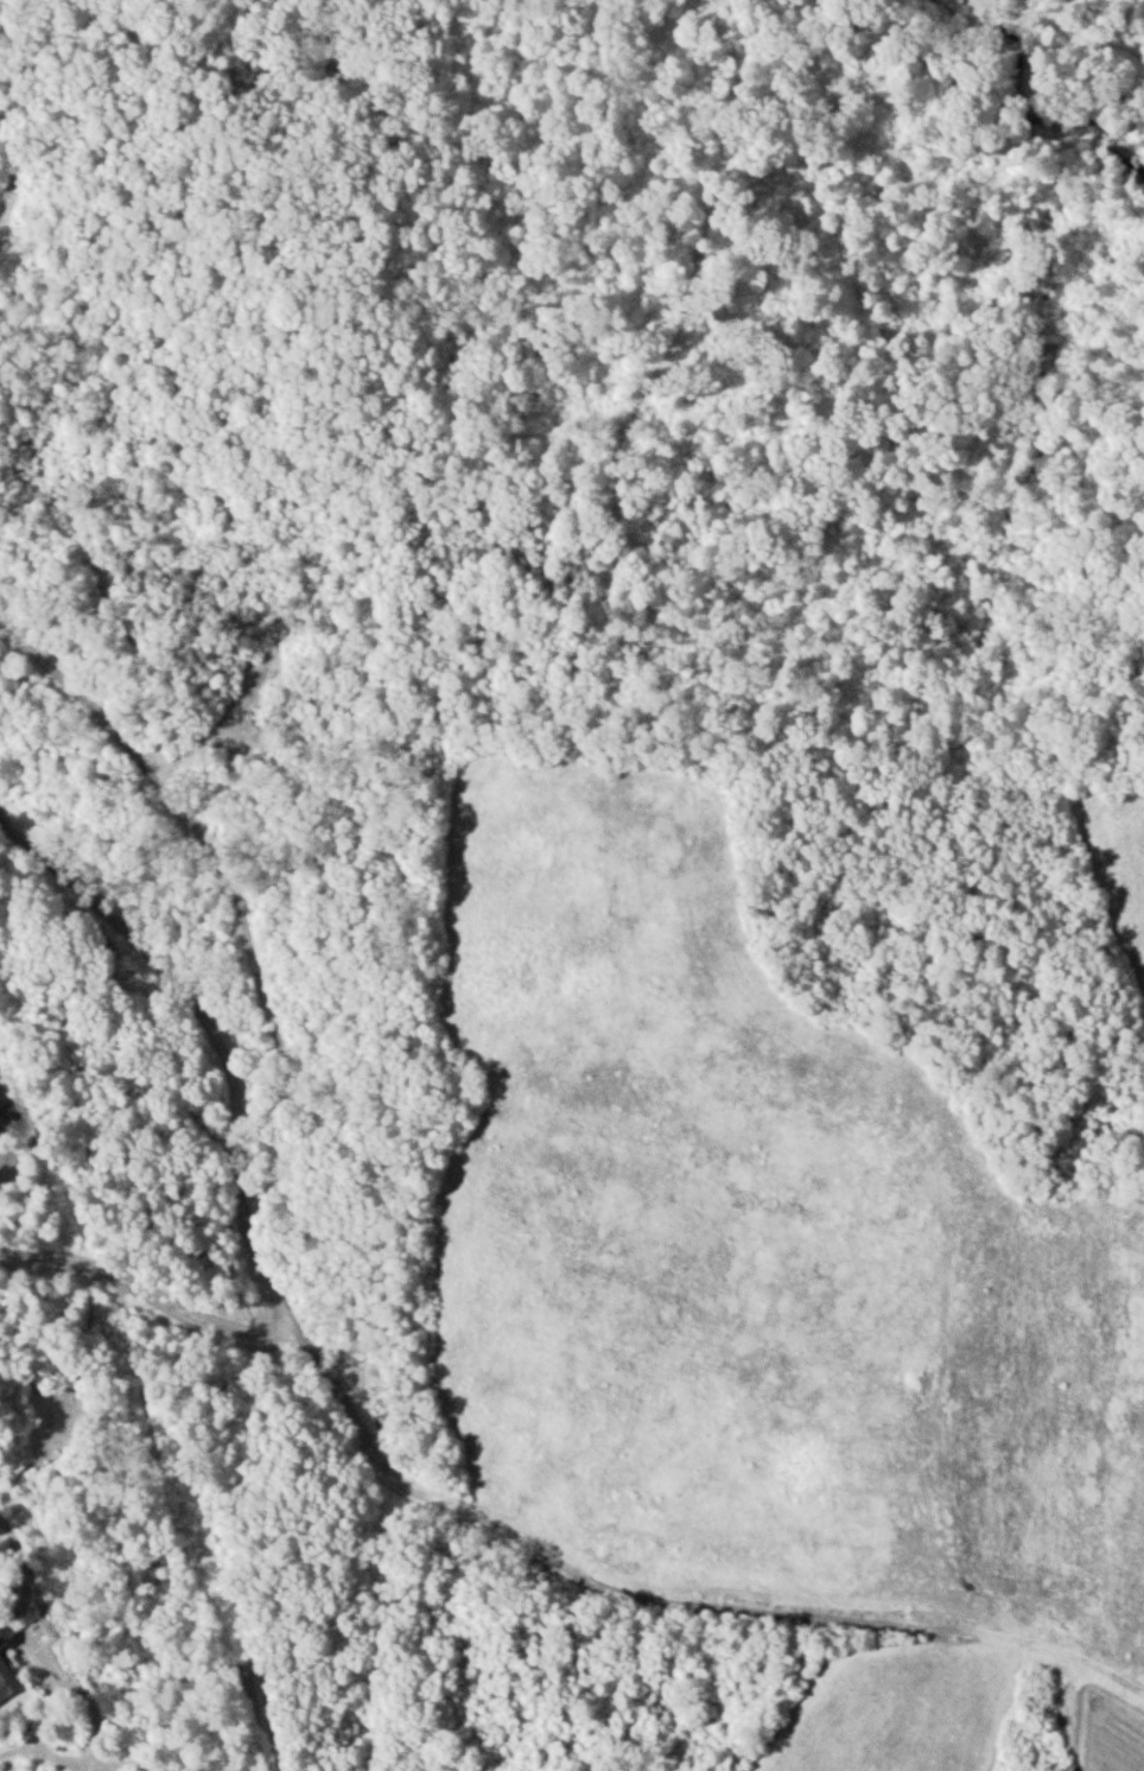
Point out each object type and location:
road: (26, 1575)
building: (1, 1640)
road: (63, 1680)
building: (6, 1681)
road: (45, 1748)

